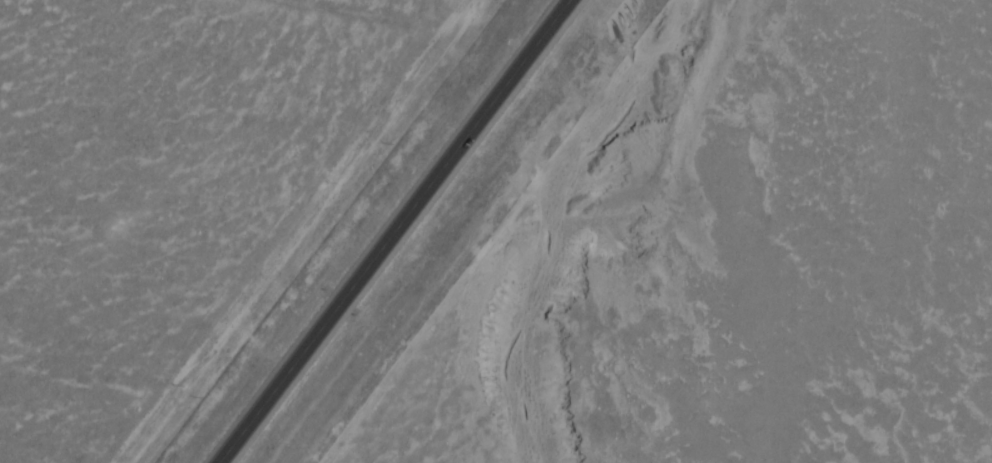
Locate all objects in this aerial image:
road: (392, 231)

